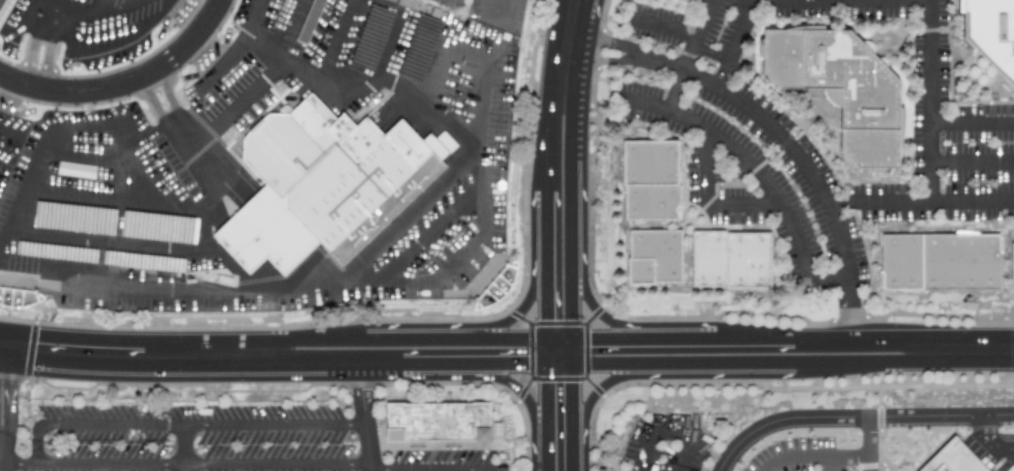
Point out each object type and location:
road: (844, 0)
building: (685, 1)
road: (108, 8)
road: (489, 11)
road: (90, 21)
road: (662, 25)
road: (241, 36)
building: (991, 36)
road: (569, 38)
road: (608, 40)
road: (735, 43)
road: (86, 50)
road: (31, 53)
road: (270, 55)
road: (688, 55)
road: (46, 58)
road: (603, 58)
road: (220, 61)
road: (381, 67)
road: (321, 73)
road: (126, 83)
building: (843, 87)
road: (226, 98)
road: (931, 101)
road: (750, 109)
road: (171, 117)
road: (972, 120)
road: (541, 130)
road: (9, 133)
road: (481, 141)
road: (38, 152)
road: (741, 157)
road: (140, 159)
road: (95, 161)
road: (972, 161)
road: (3, 162)
building: (651, 163)
road: (706, 169)
building: (335, 174)
road: (67, 195)
road: (579, 203)
building: (654, 203)
road: (920, 203)
road: (742, 205)
road: (406, 214)
road: (540, 228)
road: (427, 235)
road: (840, 239)
road: (98, 241)
road: (224, 244)
building: (657, 256)
building: (710, 259)
building: (750, 261)
building: (941, 262)
building: (1012, 262)
road: (826, 277)
building: (493, 280)
road: (249, 291)
road: (540, 298)
road: (848, 304)
road: (518, 308)
road: (601, 308)
traffic signals: (540, 317)
road: (863, 331)
road: (559, 332)
traffic signals: (594, 332)
road: (613, 332)
road: (680, 332)
road: (751, 332)
road: (312, 333)
road: (421, 333)
road: (508, 333)
road: (8, 346)
traffic signals: (42, 349)
road: (972, 350)
road: (540, 351)
road: (579, 351)
road: (140, 353)
road: (757, 370)
road: (506, 371)
traffic signals: (524, 371)
road: (559, 371)
road: (329, 372)
road: (436, 372)
road: (670, 376)
traffic signals: (16, 386)
traffic signals: (580, 388)
road: (516, 395)
road: (16, 399)
road: (540, 404)
road: (580, 404)
road: (855, 416)
road: (367, 421)
road: (90, 424)
building: (443, 425)
road: (276, 426)
road: (672, 432)
road: (991, 440)
road: (868, 443)
road: (1, 446)
road: (185, 448)
road: (642, 450)
road: (540, 454)
road: (580, 455)
road: (684, 455)
road: (814, 456)
building: (951, 458)
road: (1, 459)
road: (242, 463)
road: (834, 463)
road: (483, 468)

